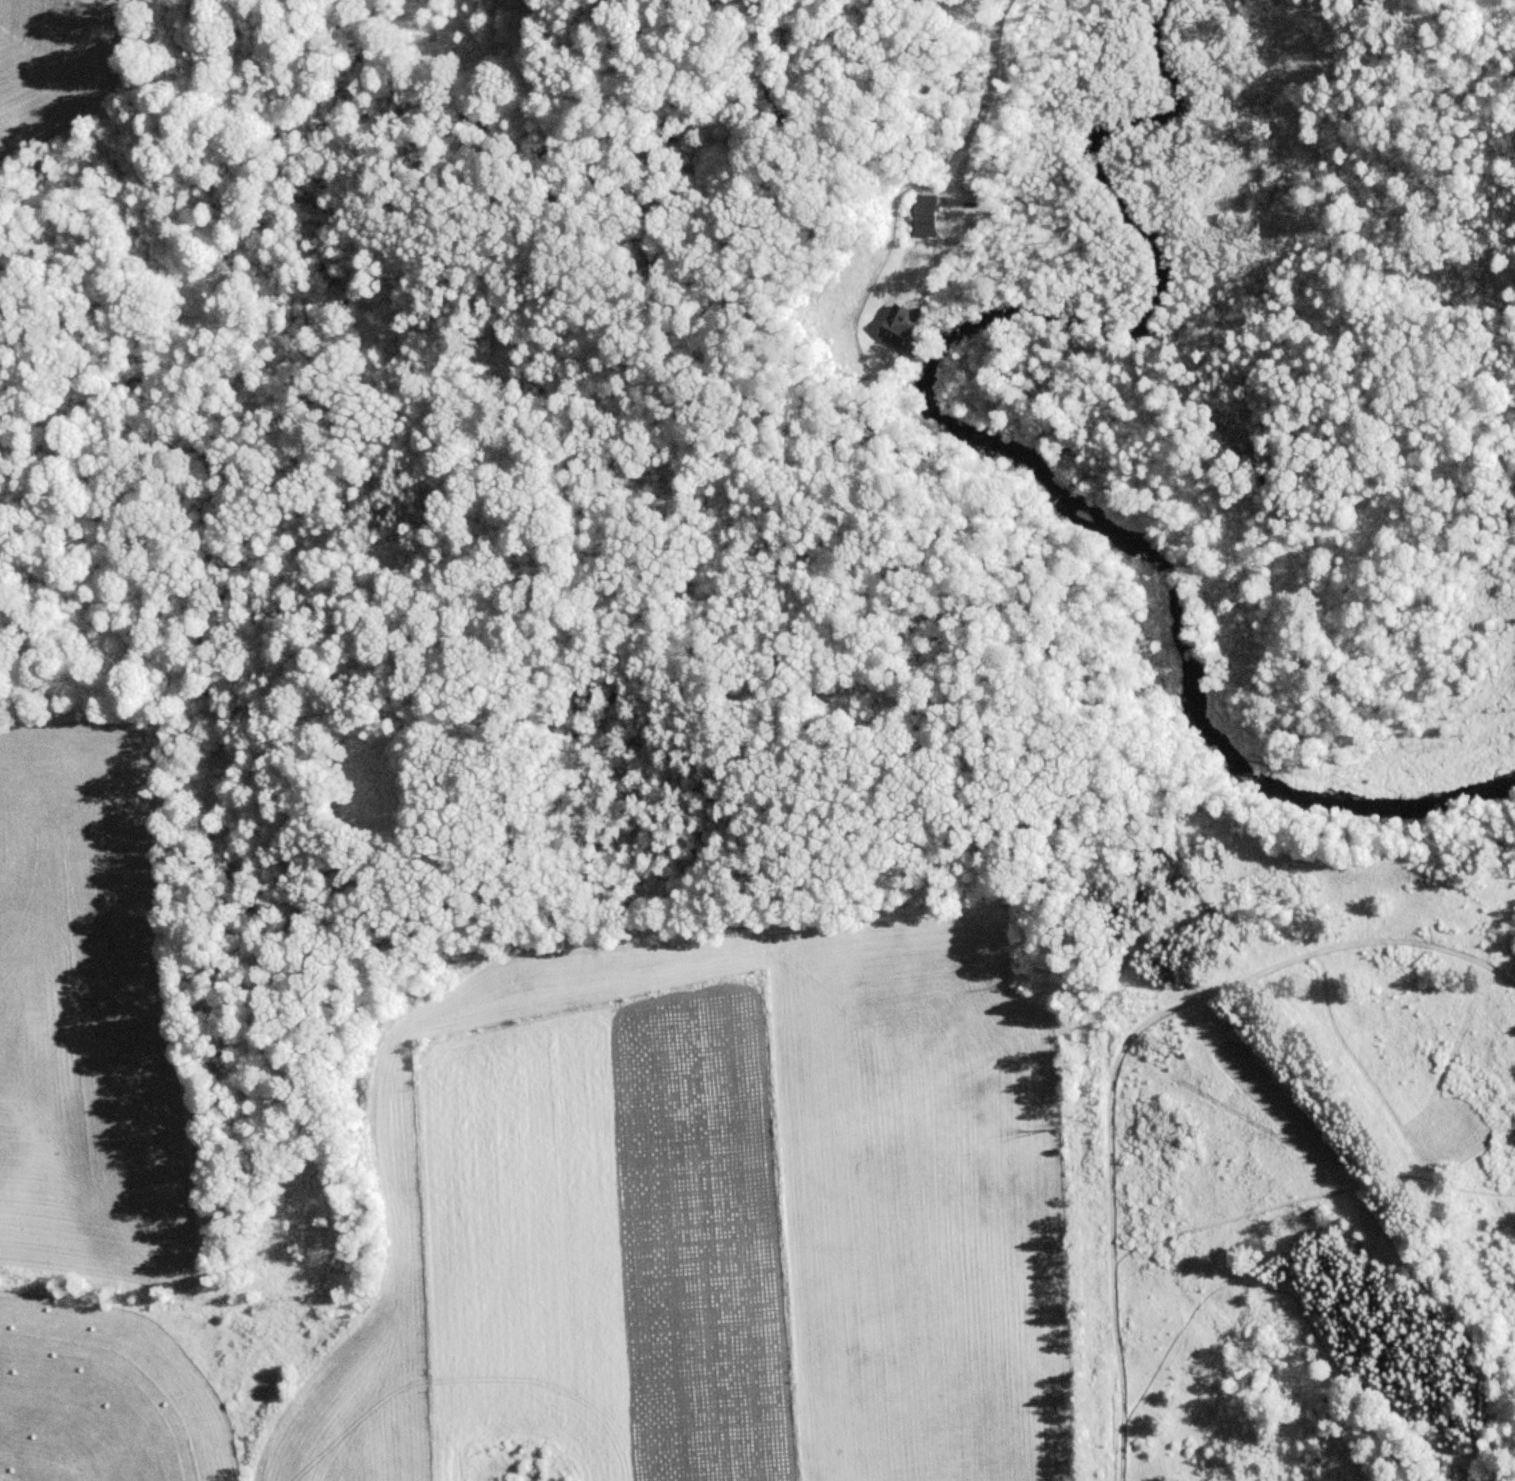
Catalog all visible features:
road: (953, 171)
building: (931, 219)
building: (889, 325)
river: (977, 435)

